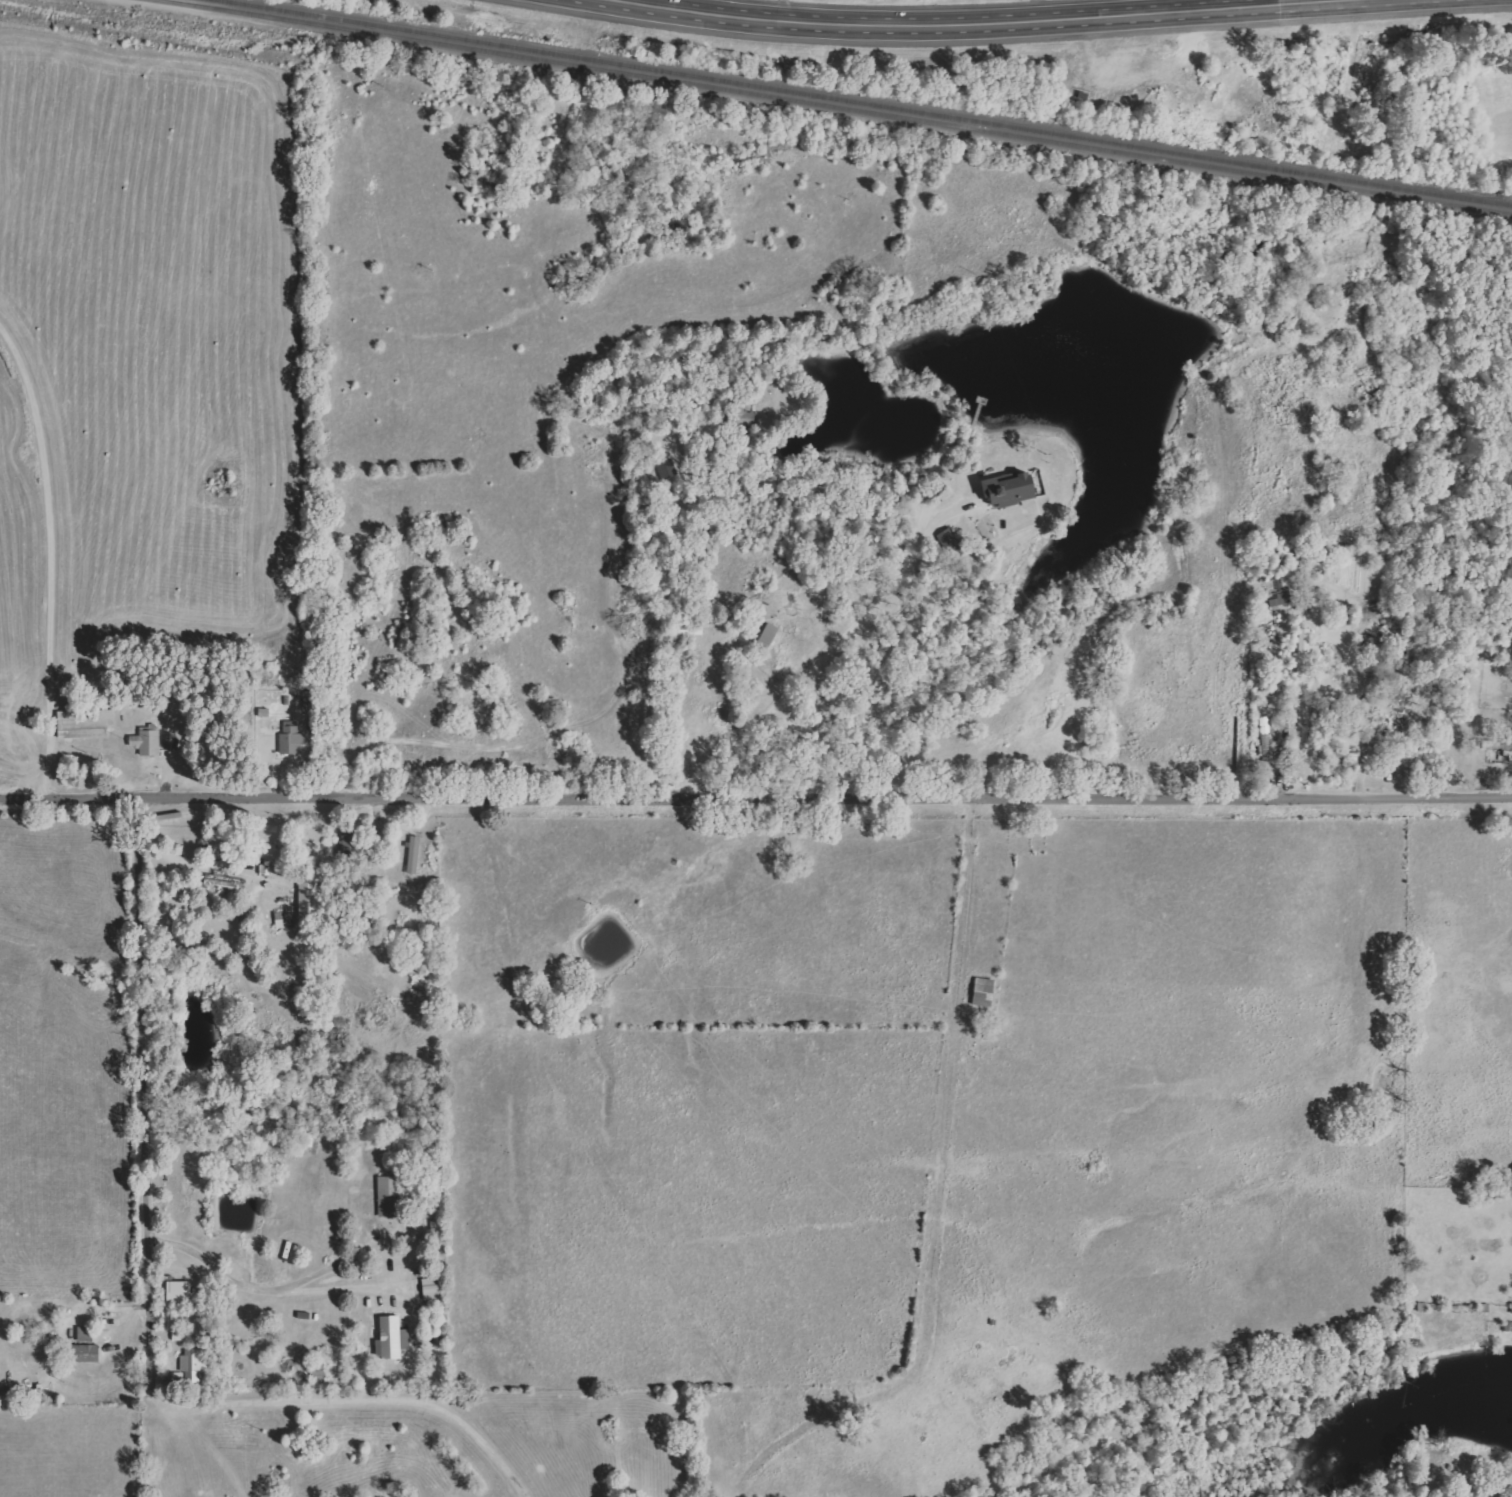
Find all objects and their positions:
road: (1037, 8)
road: (986, 18)
railway: (866, 103)
railway: (834, 106)
building: (1013, 489)
building: (952, 542)
road: (50, 556)
building: (1296, 586)
building: (770, 637)
building: (1305, 654)
road: (623, 669)
road: (1359, 696)
building: (88, 724)
building: (295, 741)
building: (149, 743)
building: (1499, 747)
road: (756, 797)
building: (416, 855)
building: (231, 885)
building: (311, 898)
road: (143, 1093)
building: (393, 1196)
road: (342, 1284)
road: (273, 1286)
building: (182, 1292)
building: (395, 1339)
building: (85, 1354)
building: (197, 1366)
road: (359, 1400)

